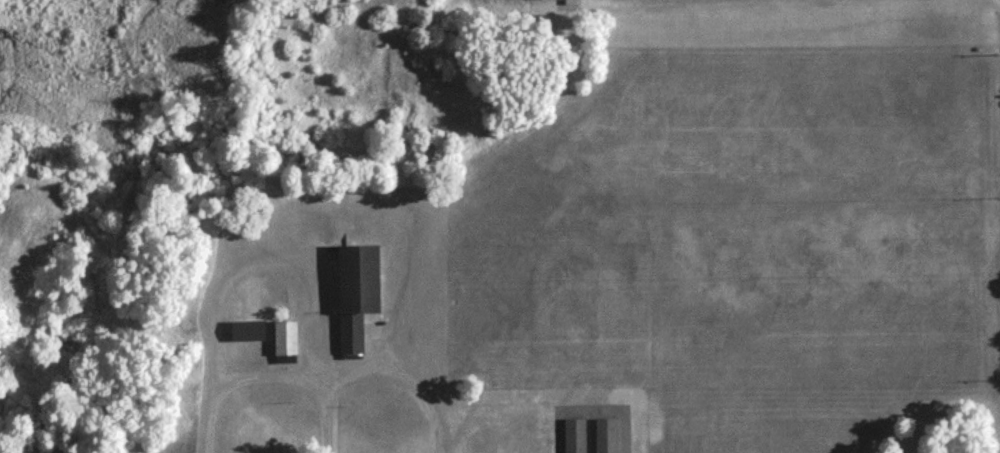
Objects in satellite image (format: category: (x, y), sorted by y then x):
road: (258, 262)
building: (354, 293)
building: (245, 328)
building: (282, 336)
road: (275, 380)
road: (404, 384)
road: (493, 415)
building: (572, 435)
building: (604, 435)
building: (493, 444)

